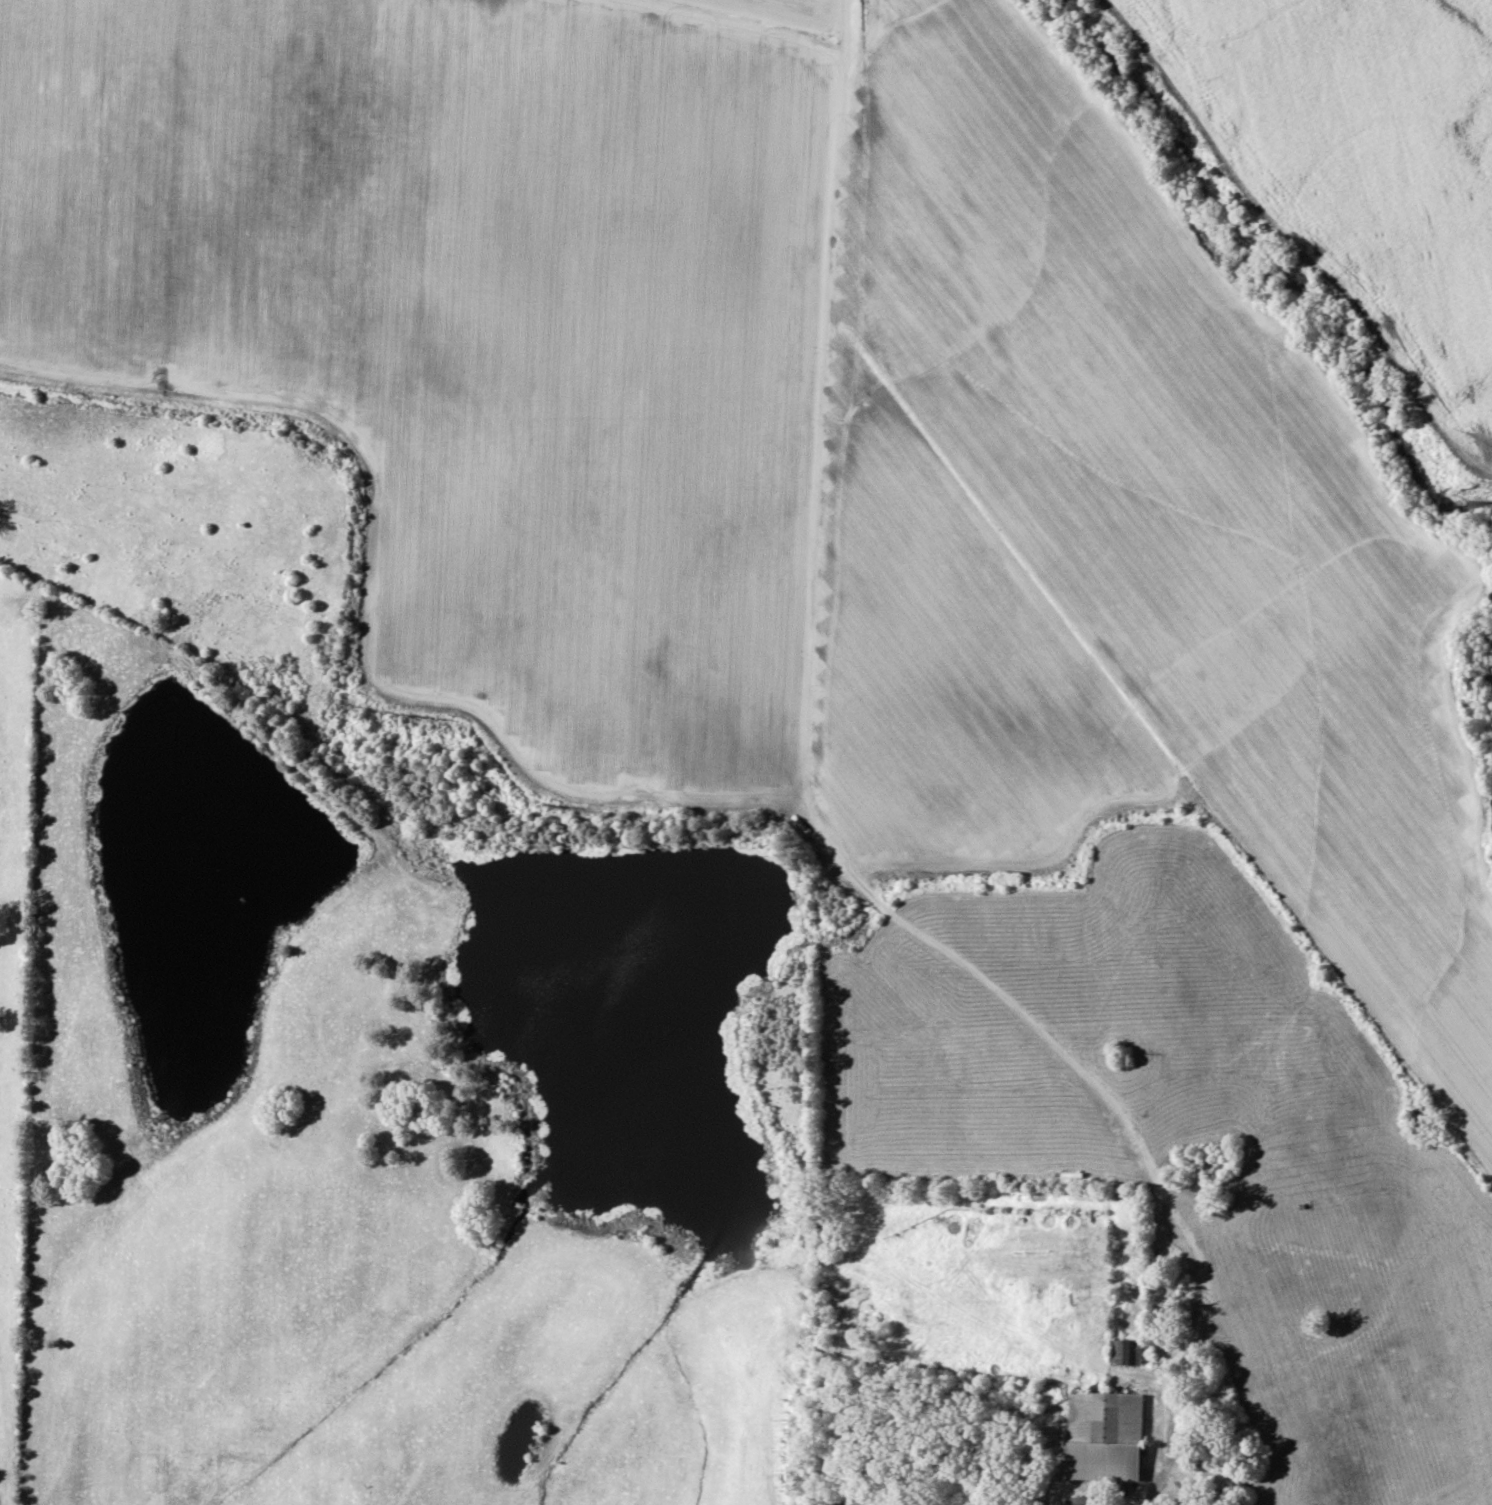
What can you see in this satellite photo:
building: (1375, 121)
building: (1102, 1437)

